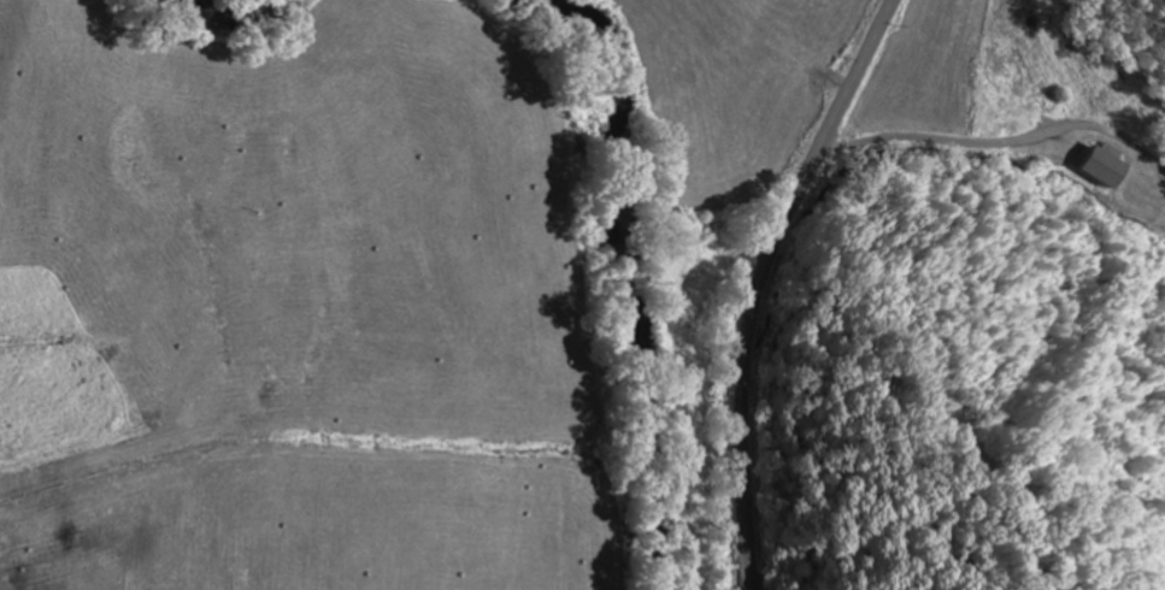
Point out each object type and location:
road: (999, 141)
building: (1105, 171)
river: (634, 269)
road: (761, 279)

